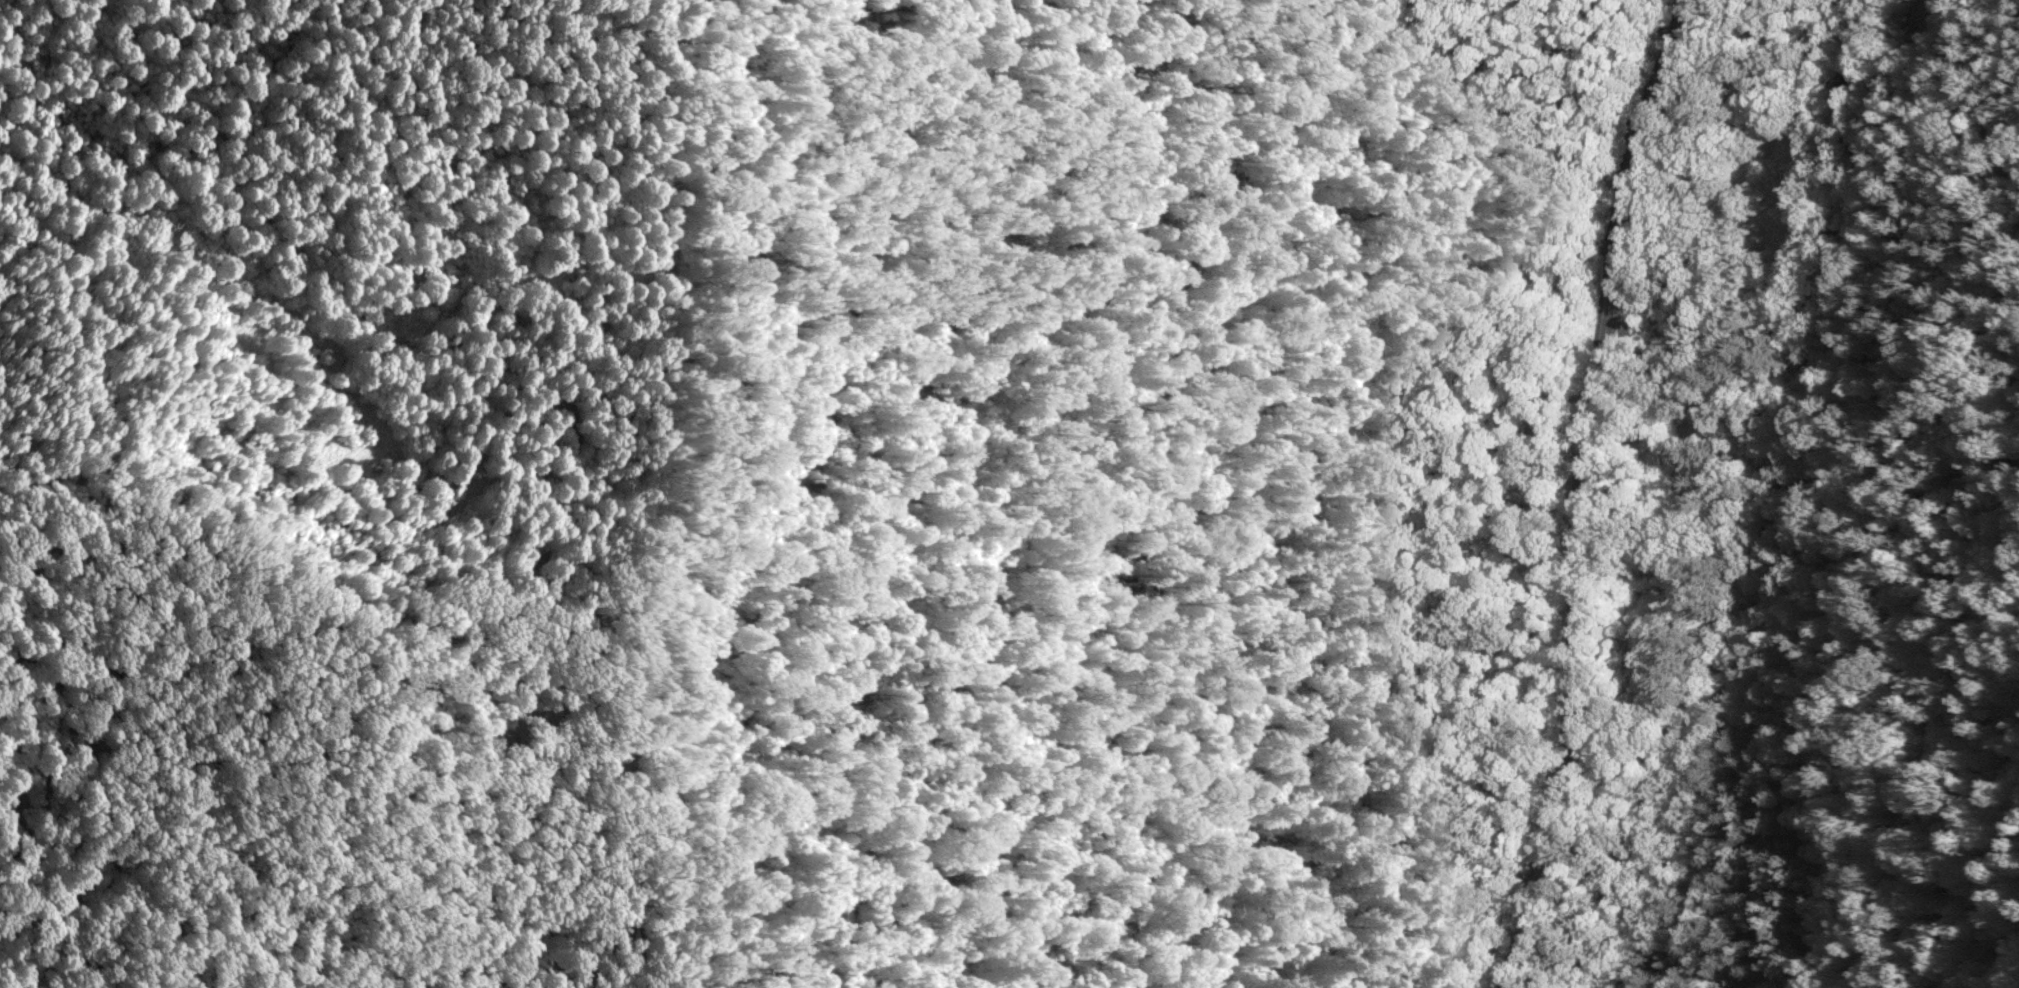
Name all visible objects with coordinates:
road: (1926, 46)
road: (1590, 492)
road: (1824, 493)

